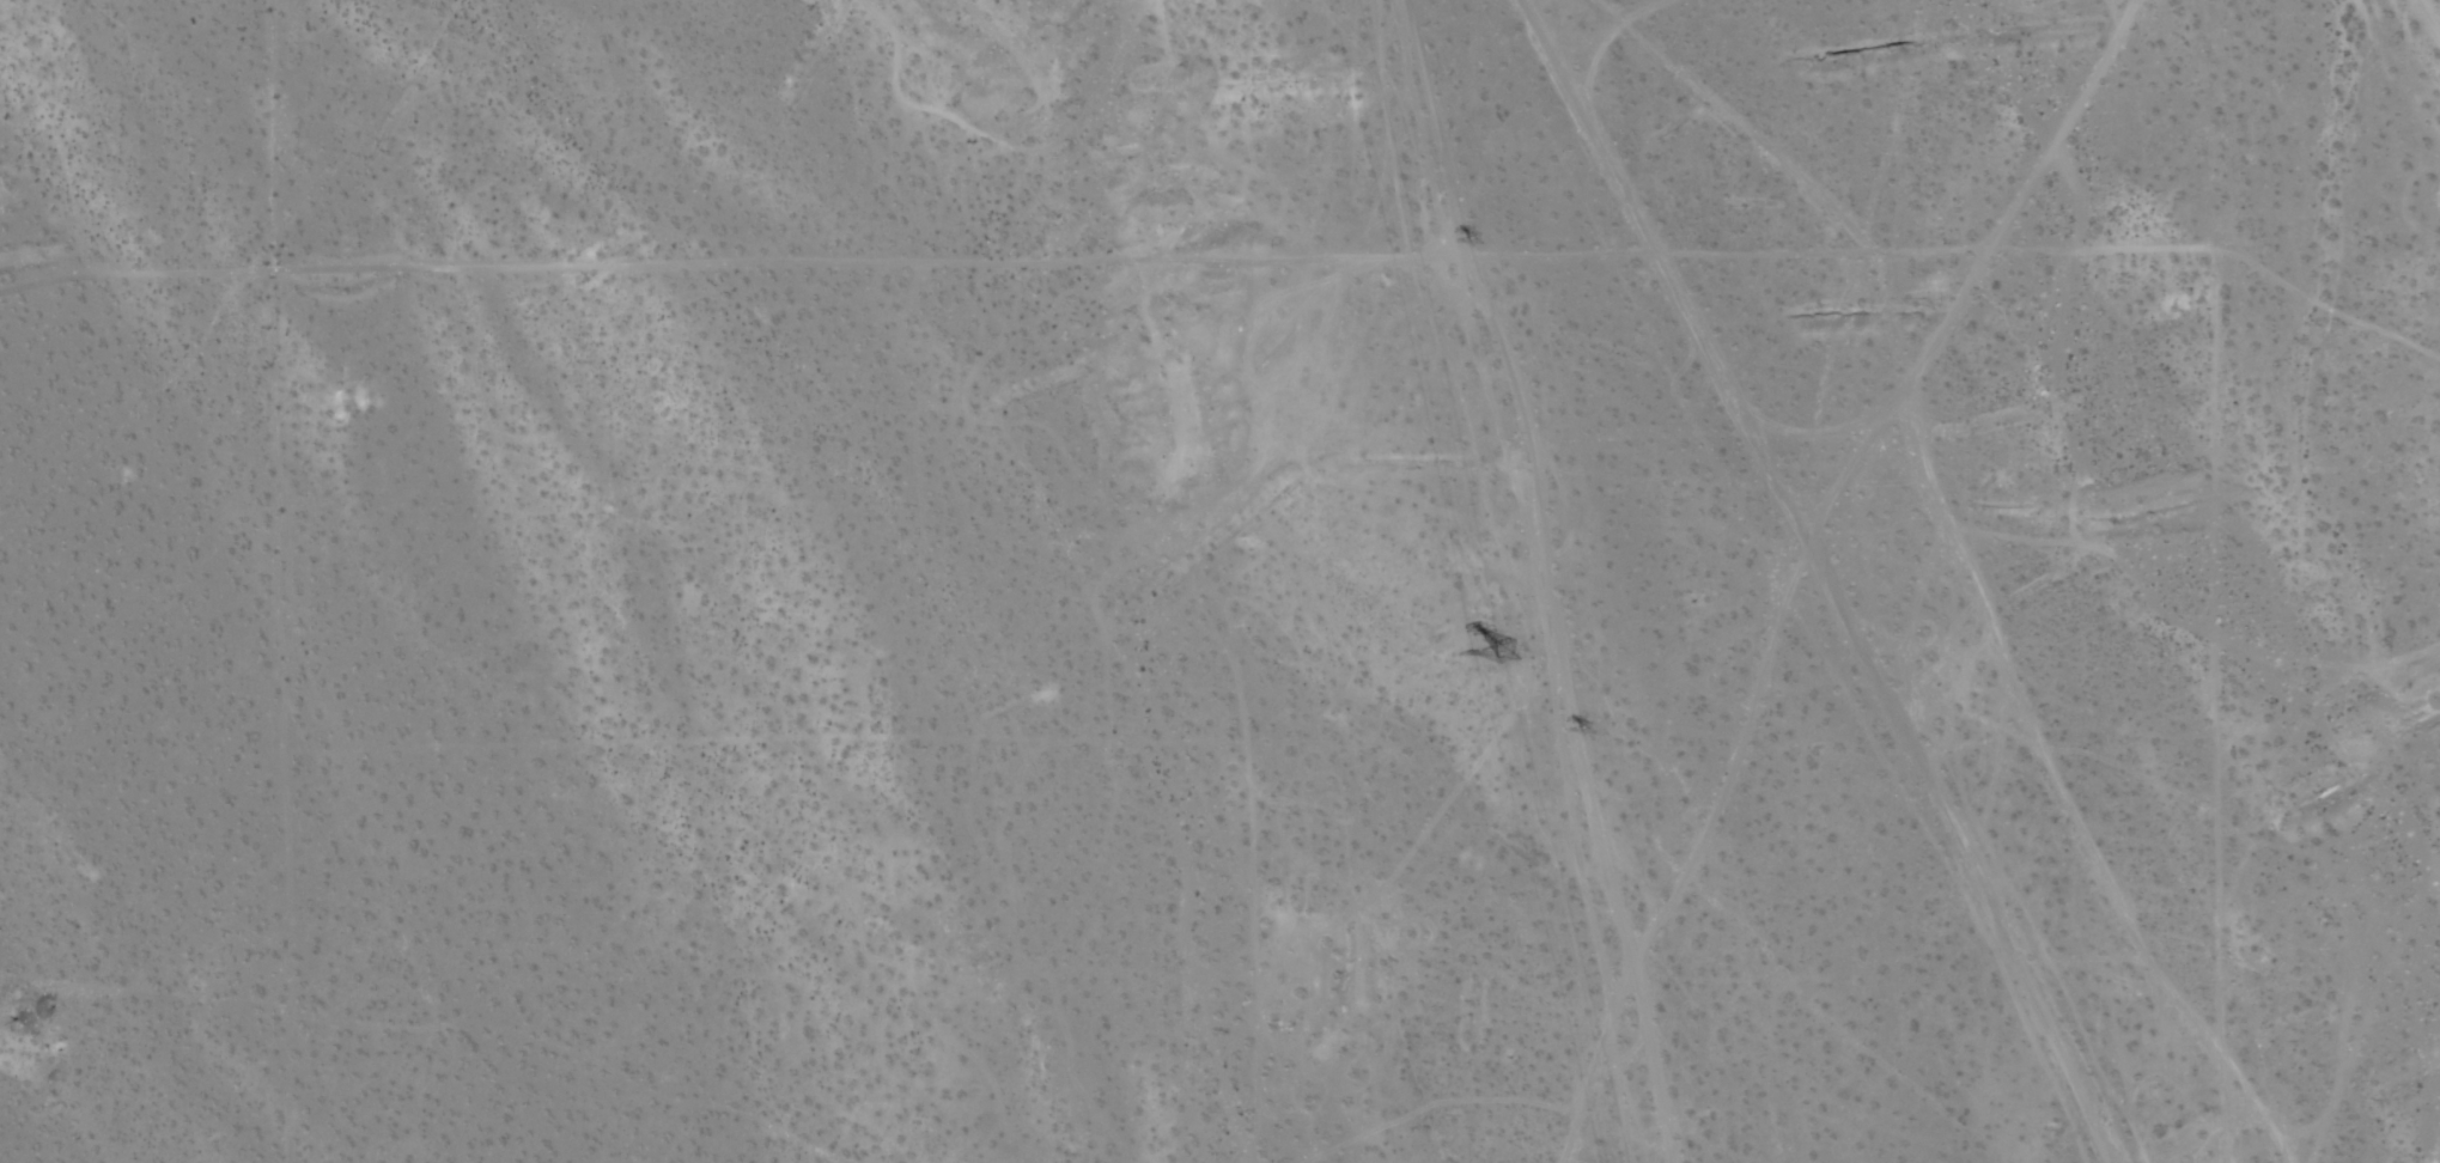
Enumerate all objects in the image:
road: (2430, 16)
power tower: (1486, 248)
road: (1850, 464)
road: (1541, 579)
power tower: (1511, 651)
power tower: (1594, 732)

